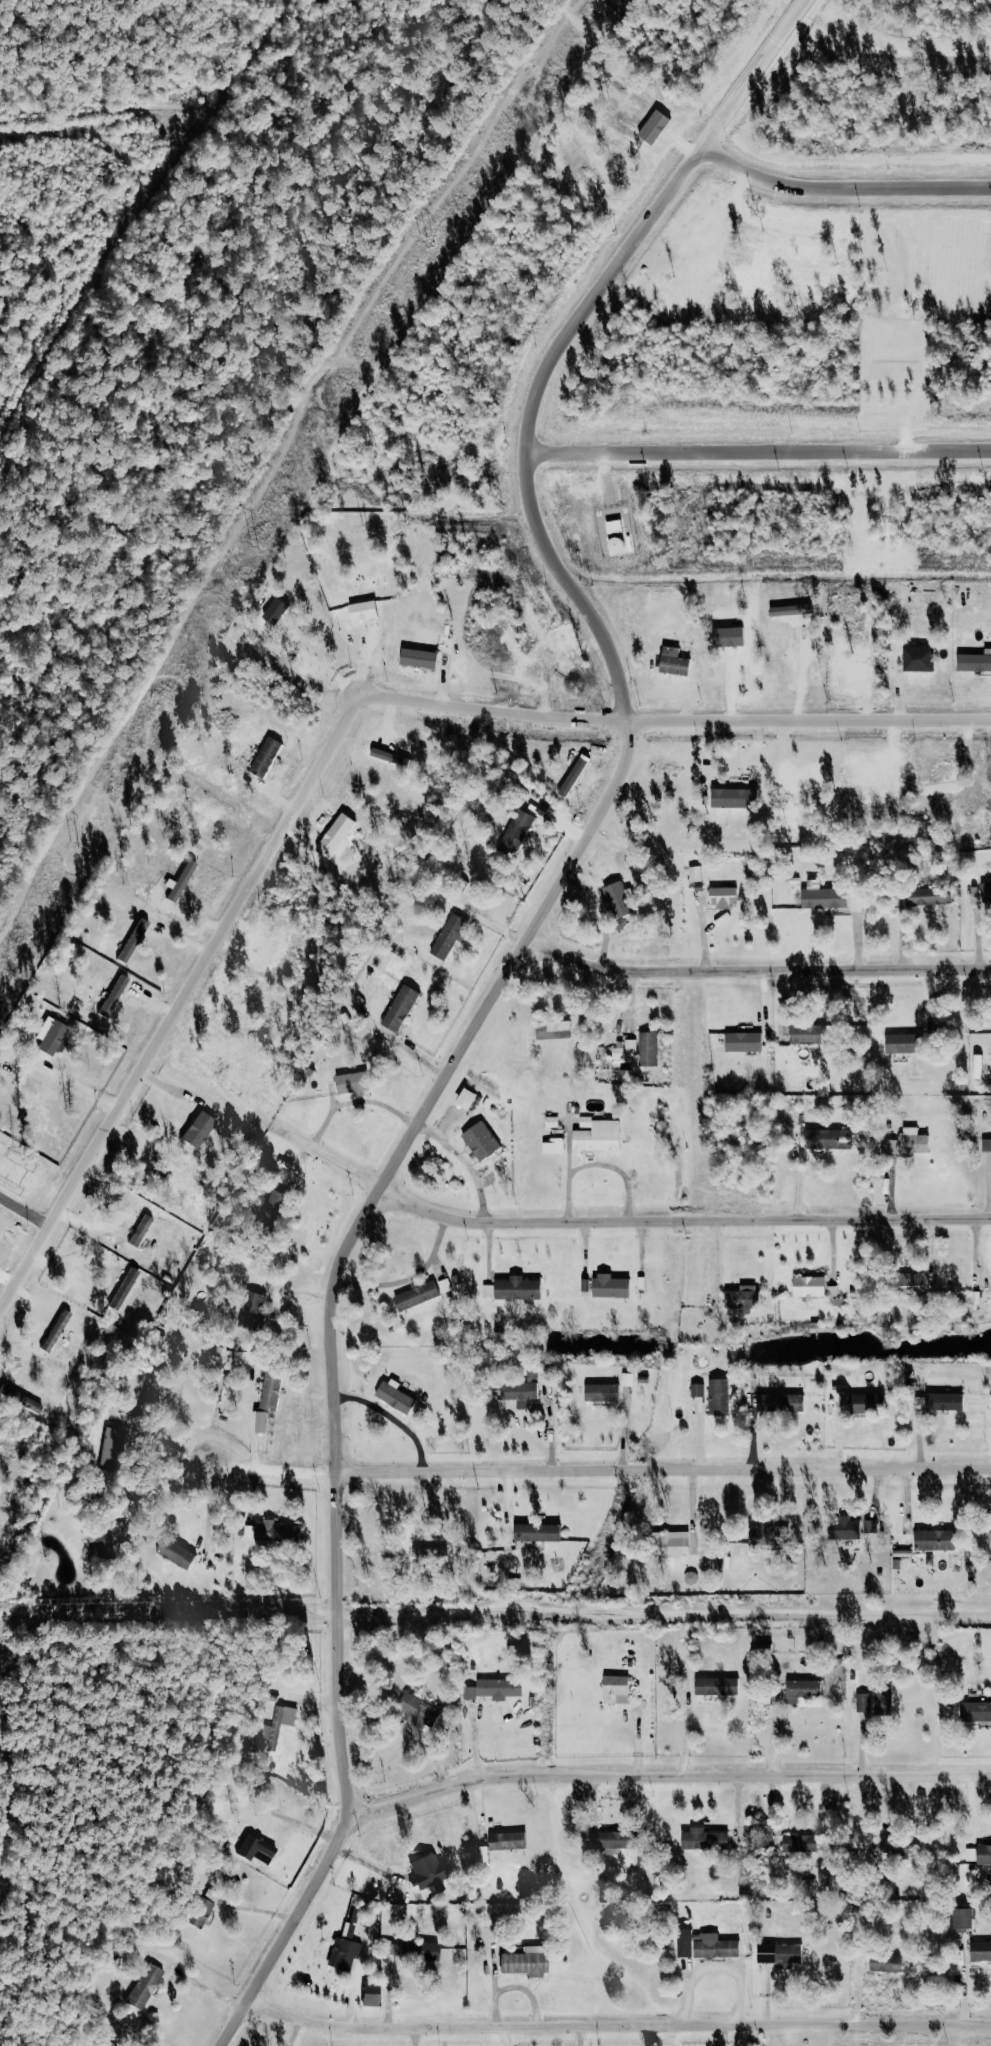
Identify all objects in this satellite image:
power tower: (601, 9)
road: (843, 189)
power tower: (431, 242)
road: (550, 395)
road: (767, 462)
building: (615, 528)
power tower: (249, 542)
building: (799, 601)
building: (276, 610)
building: (792, 610)
building: (419, 658)
building: (918, 658)
building: (974, 662)
building: (675, 665)
road: (341, 753)
building: (266, 757)
building: (517, 833)
power tower: (72, 845)
building: (602, 865)
building: (182, 881)
building: (986, 892)
building: (823, 896)
building: (929, 896)
building: (724, 897)
building: (619, 899)
building: (451, 935)
building: (133, 941)
road: (517, 959)
road: (756, 972)
building: (114, 995)
building: (401, 1008)
building: (554, 1029)
building: (806, 1034)
building: (51, 1035)
building: (745, 1042)
building: (900, 1043)
building: (626, 1048)
building: (650, 1049)
building: (352, 1083)
building: (466, 1099)
building: (553, 1122)
building: (199, 1130)
building: (598, 1135)
building: (828, 1139)
building: (482, 1140)
building: (908, 1143)
building: (987, 1145)
building: (555, 1146)
building: (275, 1209)
road: (556, 1222)
building: (141, 1231)
building: (912, 1283)
building: (611, 1286)
building: (810, 1286)
building: (127, 1287)
building: (518, 1289)
building: (489, 1291)
building: (834, 1291)
building: (418, 1296)
building: (743, 1299)
building: (253, 1310)
building: (56, 1332)
building: (244, 1357)
building: (533, 1376)
building: (629, 1379)
building: (271, 1390)
building: (699, 1390)
building: (520, 1391)
building: (603, 1393)
building: (395, 1396)
building: (720, 1396)
building: (21, 1399)
building: (782, 1402)
building: (945, 1402)
building: (866, 1403)
building: (262, 1422)
building: (112, 1445)
road: (602, 1471)
road: (168, 1487)
building: (272, 1528)
building: (103, 1529)
building: (845, 1529)
building: (537, 1532)
building: (763, 1539)
building: (935, 1540)
building: (669, 1543)
building: (177, 1553)
road: (340, 1628)
building: (718, 1686)
building: (495, 1688)
building: (620, 1689)
building: (802, 1690)
building: (877, 1700)
building: (419, 1708)
building: (976, 1711)
building: (280, 1724)
road: (669, 1774)
building: (706, 1839)
building: (508, 1840)
building: (615, 1841)
building: (801, 1843)
building: (884, 1843)
building: (257, 1848)
building: (980, 1855)
building: (428, 1872)
building: (203, 1912)
building: (963, 1917)
building: (685, 1942)
building: (715, 1946)
building: (348, 1948)
building: (428, 1951)
building: (981, 1951)
building: (780, 1952)
building: (887, 1962)
building: (523, 1964)
building: (148, 1986)
building: (371, 1995)
road: (618, 2026)

